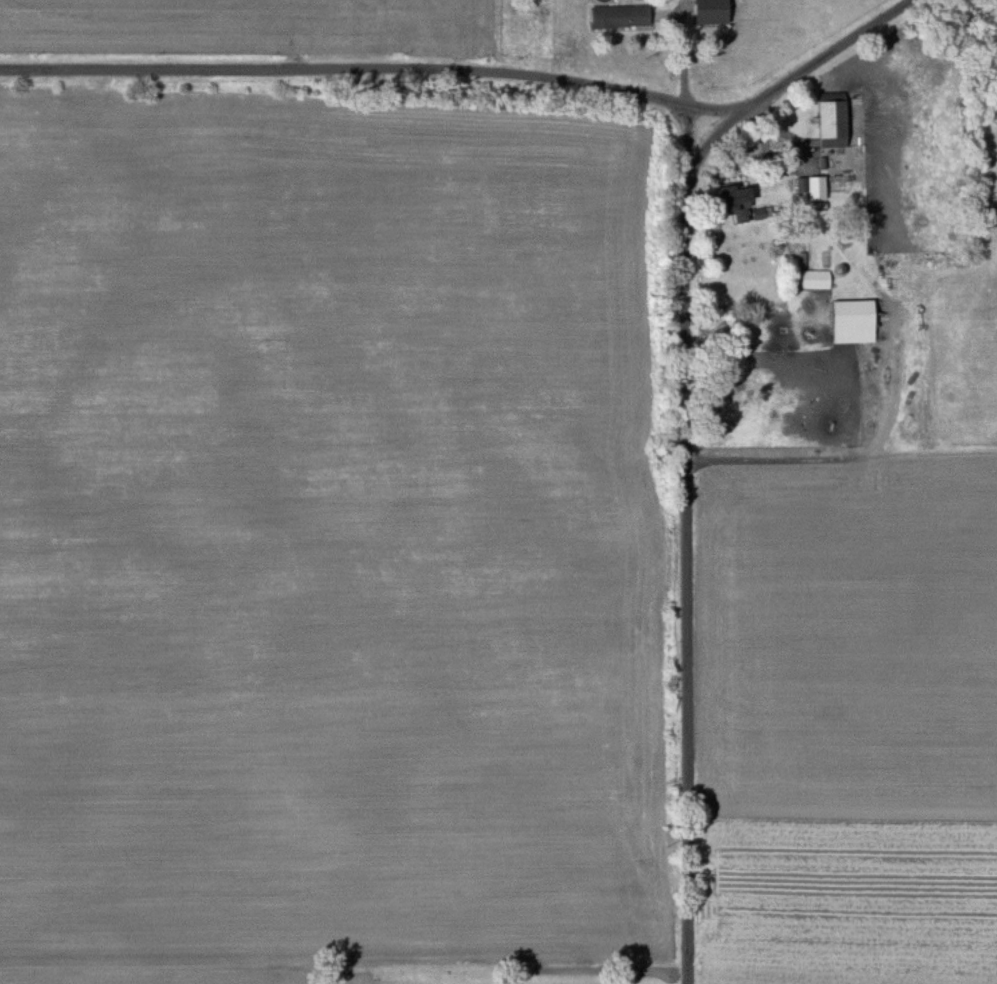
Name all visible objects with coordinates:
building: (711, 11)
building: (620, 16)
road: (684, 52)
road: (373, 69)
road: (799, 74)
road: (711, 109)
building: (832, 121)
building: (816, 188)
building: (735, 202)
building: (815, 278)
building: (853, 321)
road: (688, 573)

